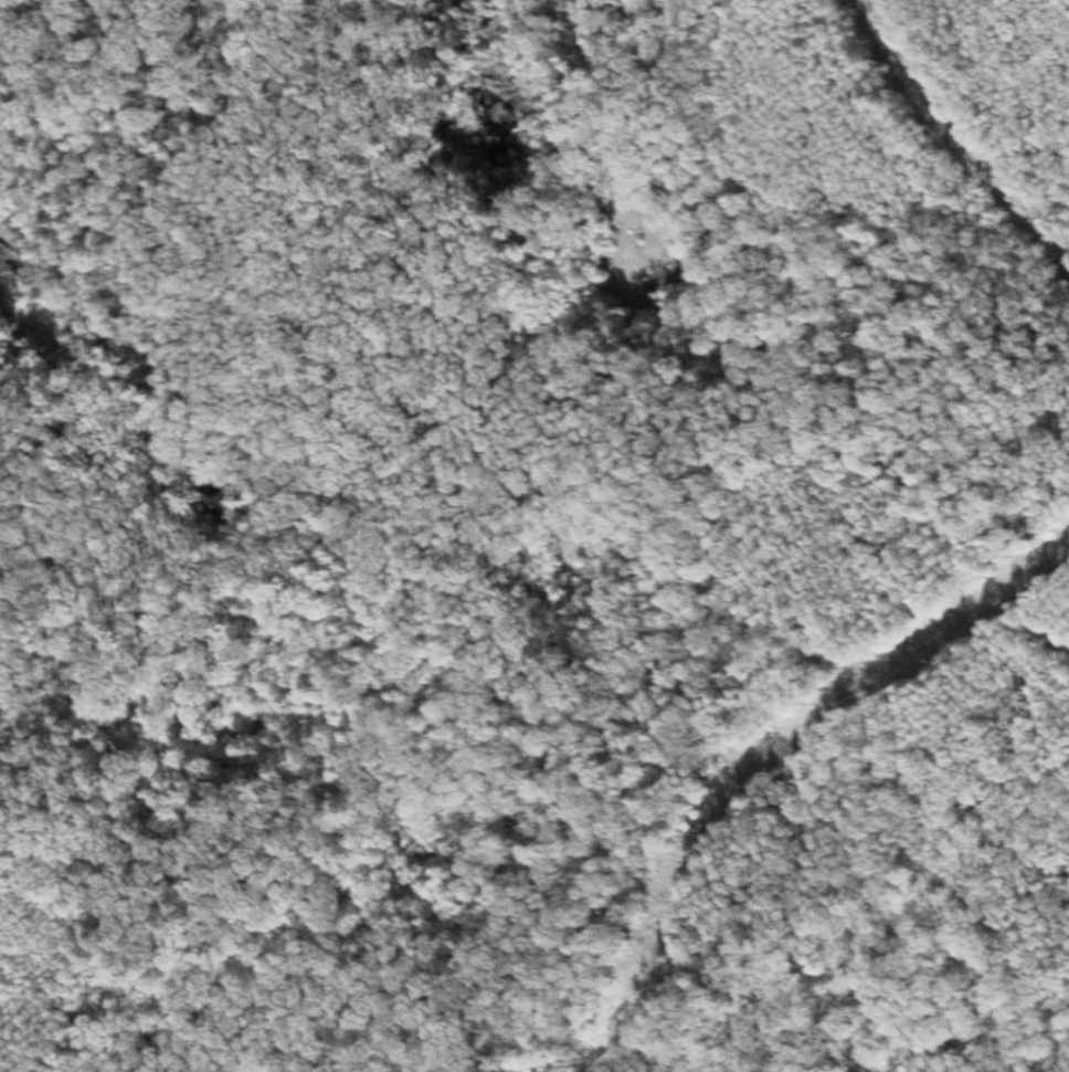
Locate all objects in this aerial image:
road: (963, 126)

